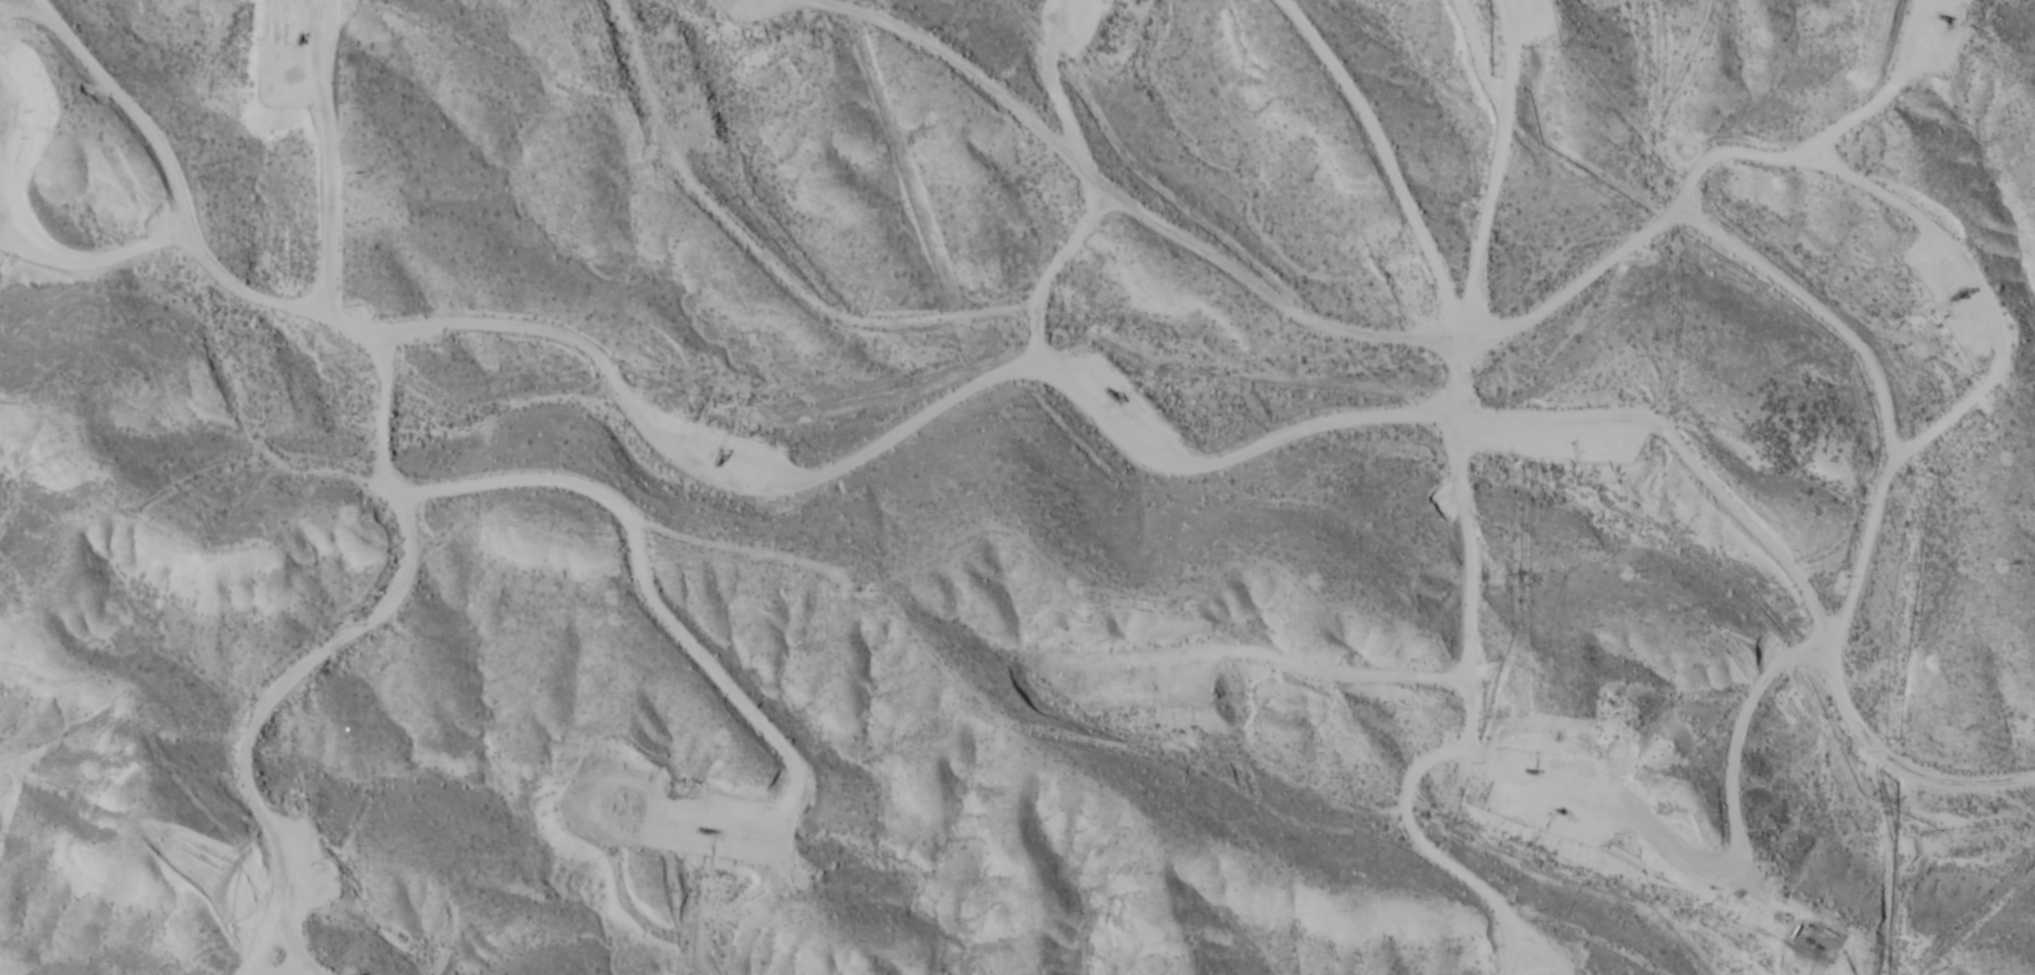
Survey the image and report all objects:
petroleum well: (1944, 16)
road: (1111, 197)
road: (1452, 212)
road: (1055, 280)
petroleum well: (1111, 398)
road: (1404, 425)
road: (387, 450)
road: (1468, 588)
road: (1895, 765)
petroleum well: (1531, 770)
petroleum well: (1558, 809)

